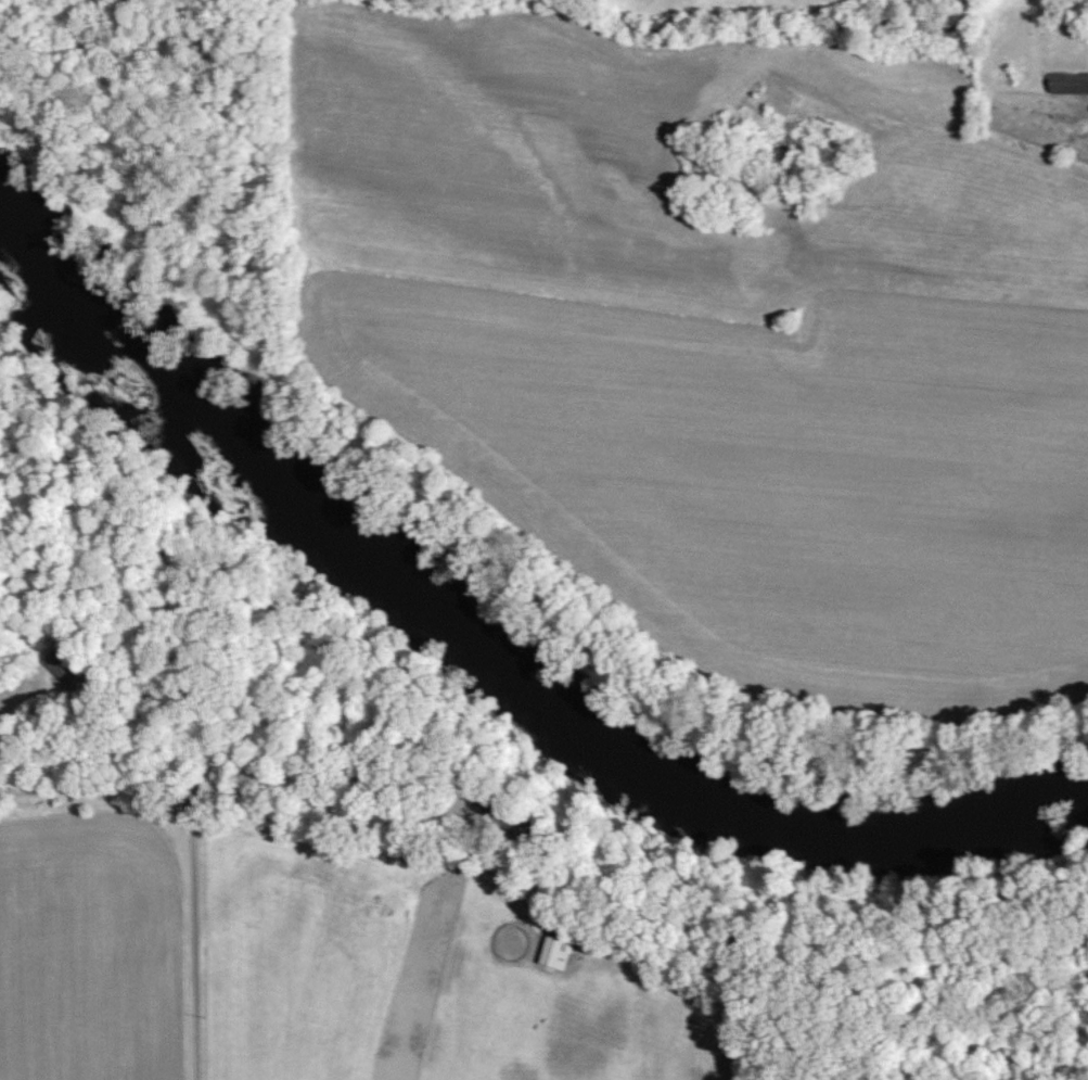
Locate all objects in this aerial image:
building: (1067, 82)
river: (484, 664)
building: (60, 666)
building: (553, 953)

